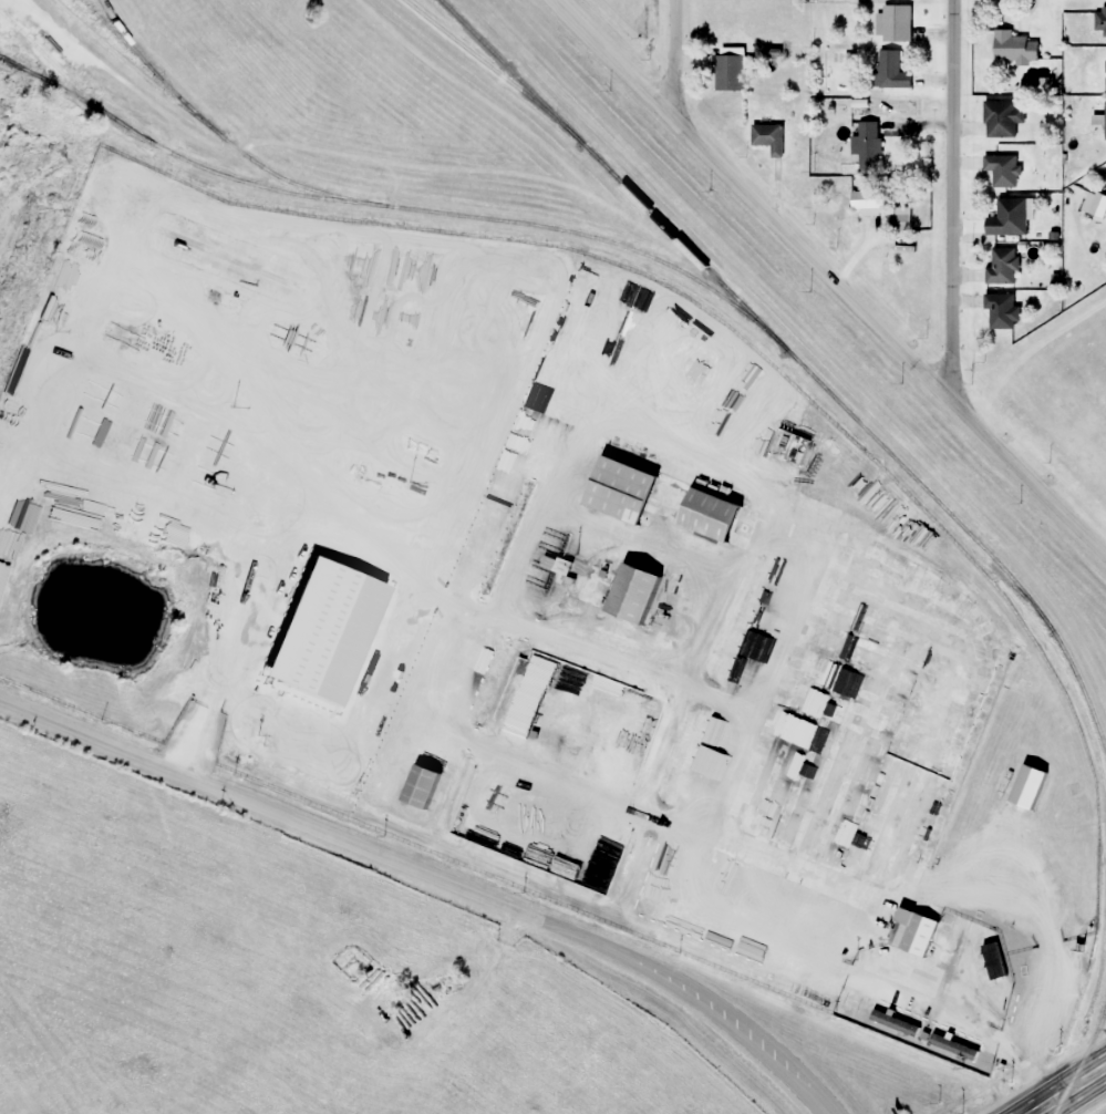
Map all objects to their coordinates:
railway: (106, 17)
building: (897, 22)
building: (1099, 22)
building: (1014, 47)
railway: (478, 59)
road: (674, 59)
building: (730, 70)
building: (889, 70)
building: (1105, 70)
building: (1001, 117)
building: (1105, 120)
railway: (214, 124)
building: (767, 136)
building: (868, 145)
railway: (166, 146)
building: (1002, 169)
building: (864, 198)
road: (953, 198)
building: (1007, 217)
building: (899, 221)
railway: (593, 237)
building: (1002, 265)
road: (829, 278)
building: (1001, 310)
railway: (798, 359)
building: (652, 528)
building: (676, 592)
building: (251, 609)
building: (586, 683)
building: (630, 757)
building: (722, 770)
building: (418, 786)
building: (1027, 786)
building: (601, 791)
building: (539, 812)
building: (614, 812)
building: (676, 857)
road: (434, 874)
building: (912, 932)
building: (1011, 948)
railway: (1077, 1045)
road: (1068, 1090)

